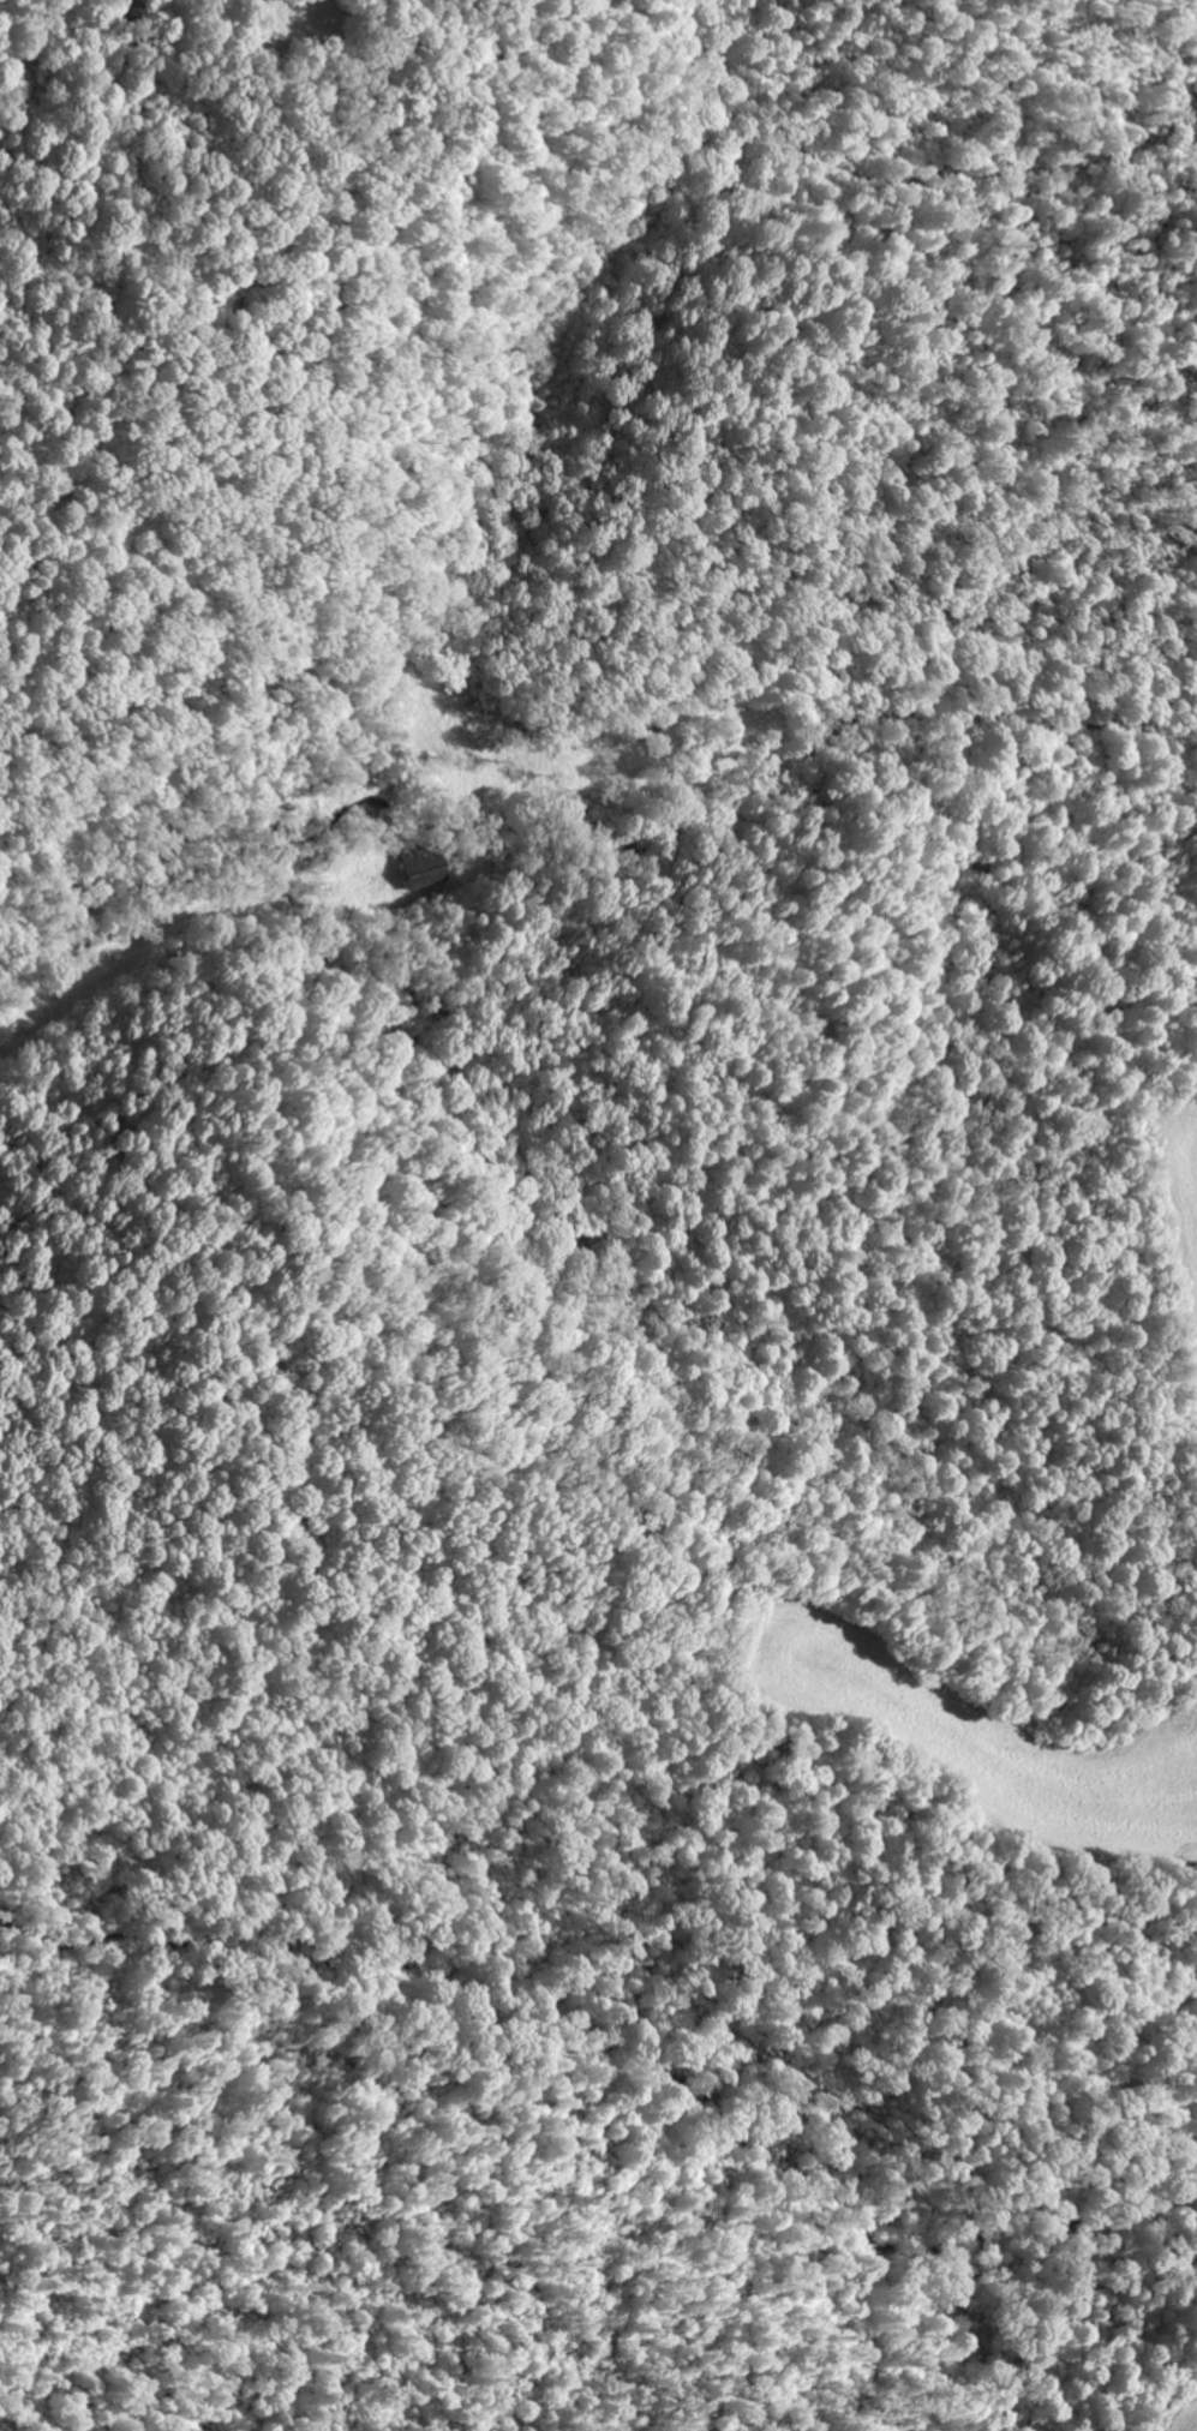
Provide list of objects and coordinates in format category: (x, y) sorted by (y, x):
road: (202, 848)

